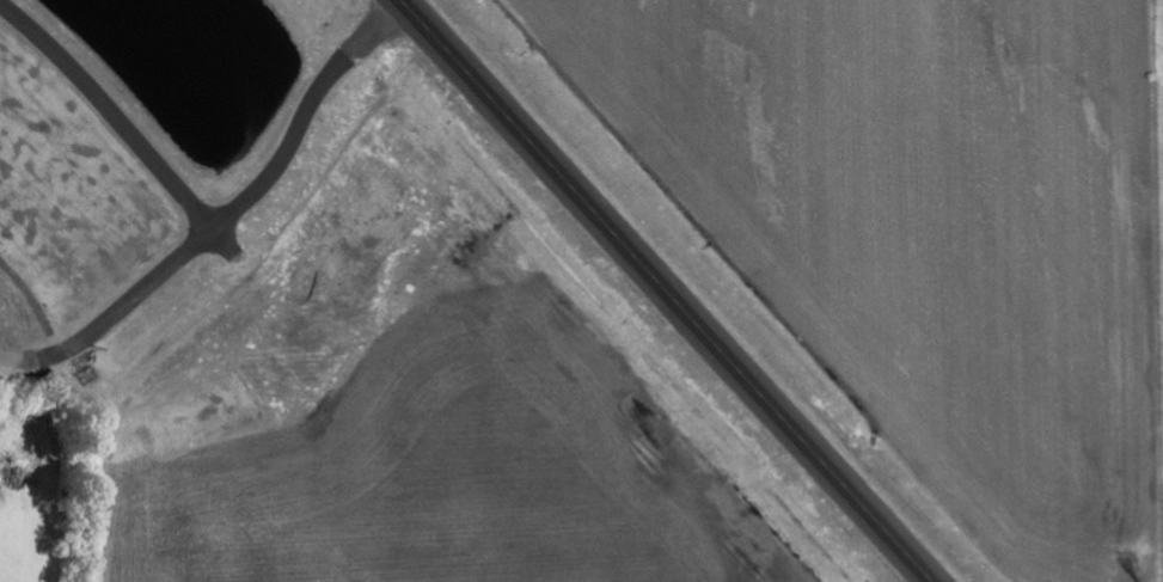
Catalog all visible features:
road: (111, 111)
road: (305, 115)
road: (222, 241)
road: (669, 290)
road: (131, 300)

